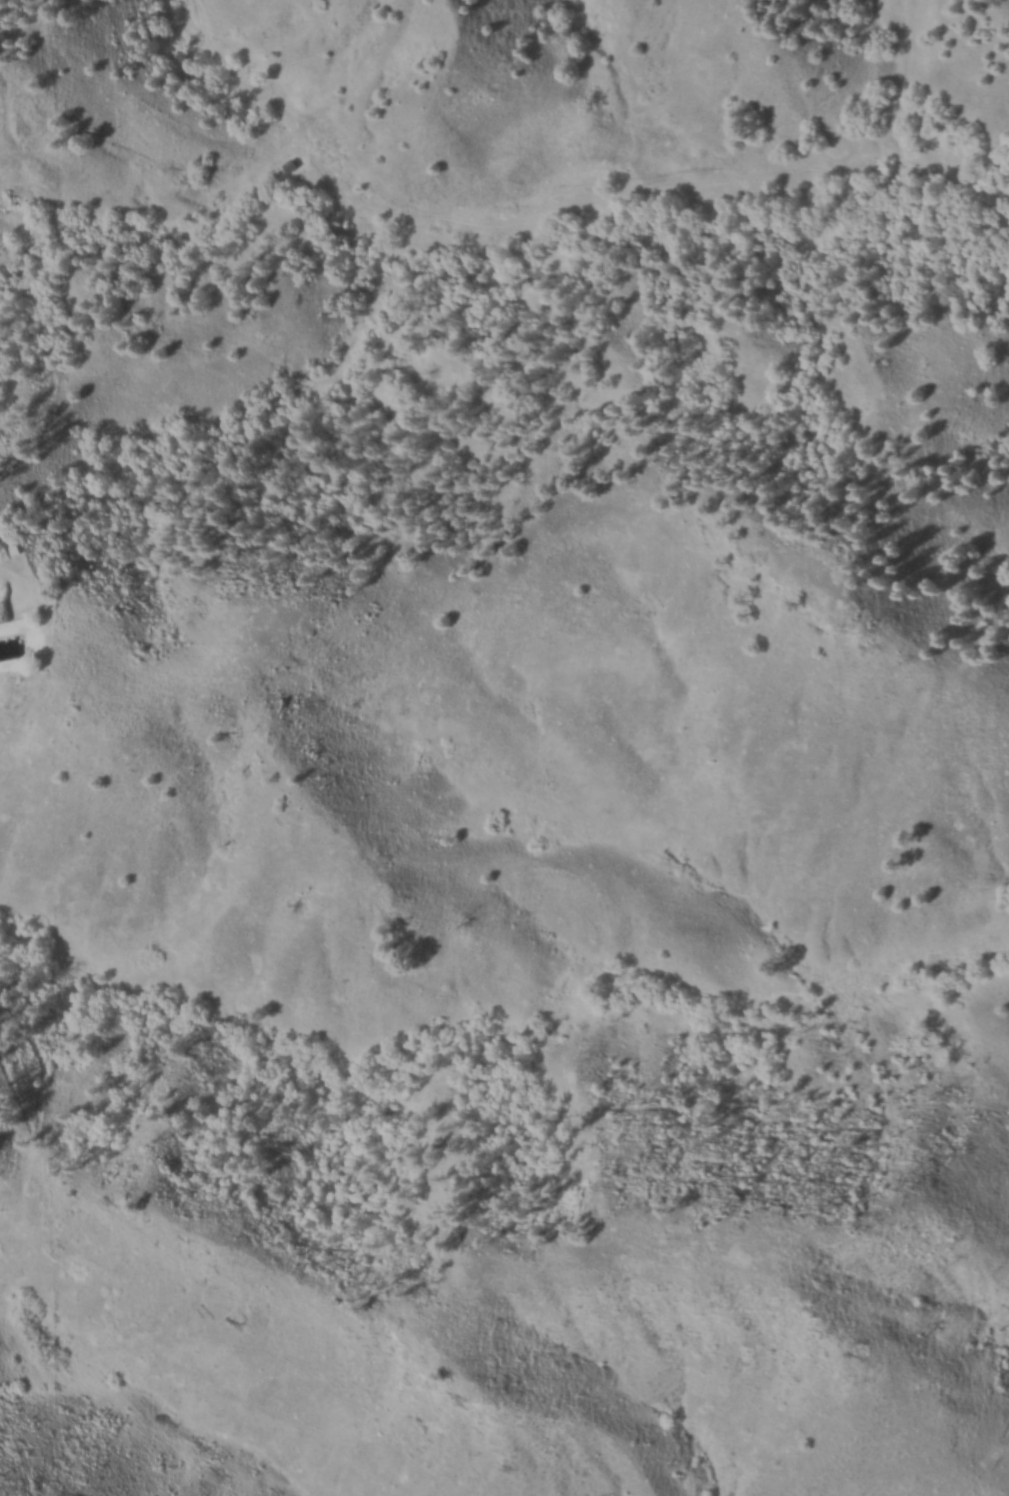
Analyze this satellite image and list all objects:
building: (292, 165)
building: (5, 610)

